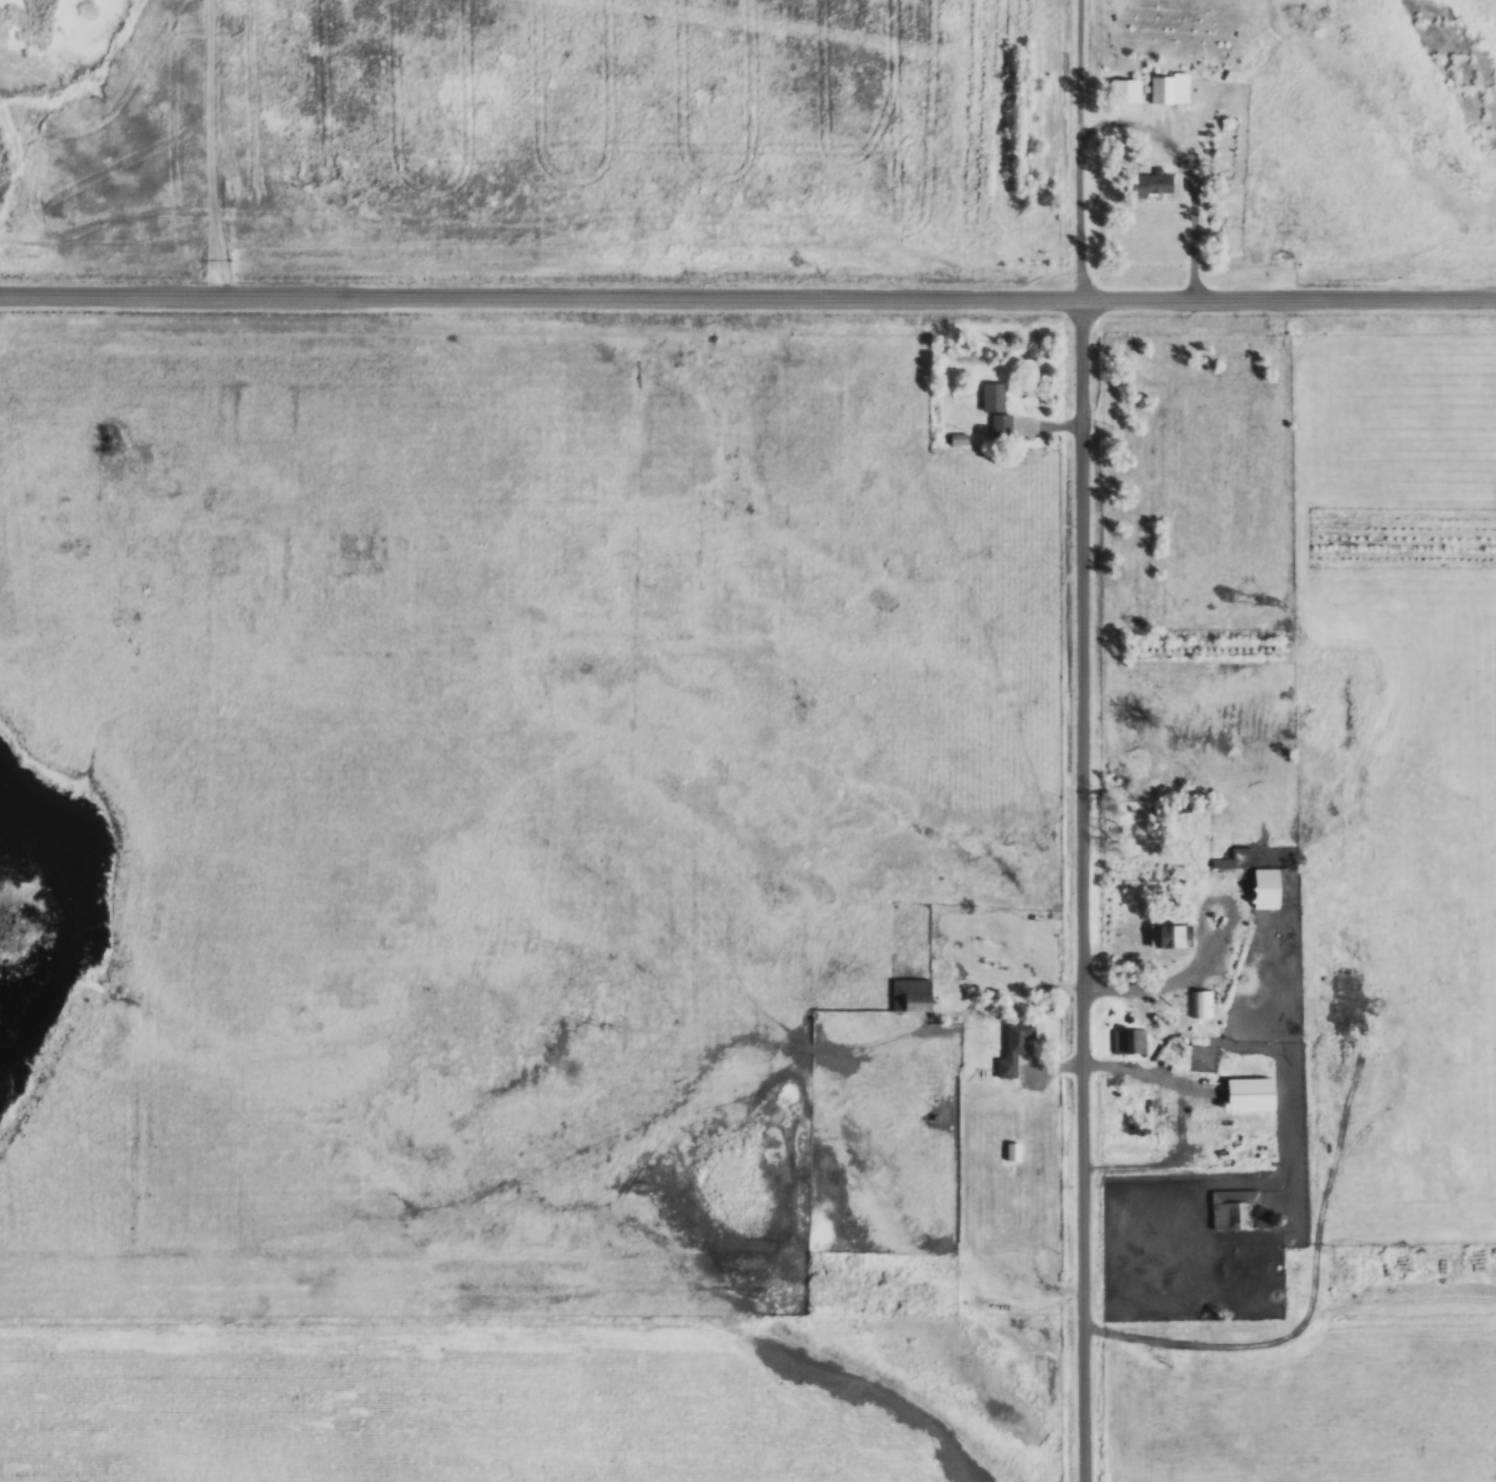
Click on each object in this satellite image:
building: (1166, 88)
building: (1122, 90)
airport: (527, 131)
road: (213, 151)
road: (1184, 172)
building: (1149, 185)
road: (747, 303)
building: (990, 396)
building: (999, 425)
road: (1082, 742)
building: (1219, 863)
building: (1259, 888)
building: (1162, 936)
road: (1154, 983)
building: (908, 995)
building: (1197, 1004)
building: (1127, 1041)
building: (1011, 1047)
road: (1119, 1071)
building: (1011, 1150)
building: (1239, 1210)

